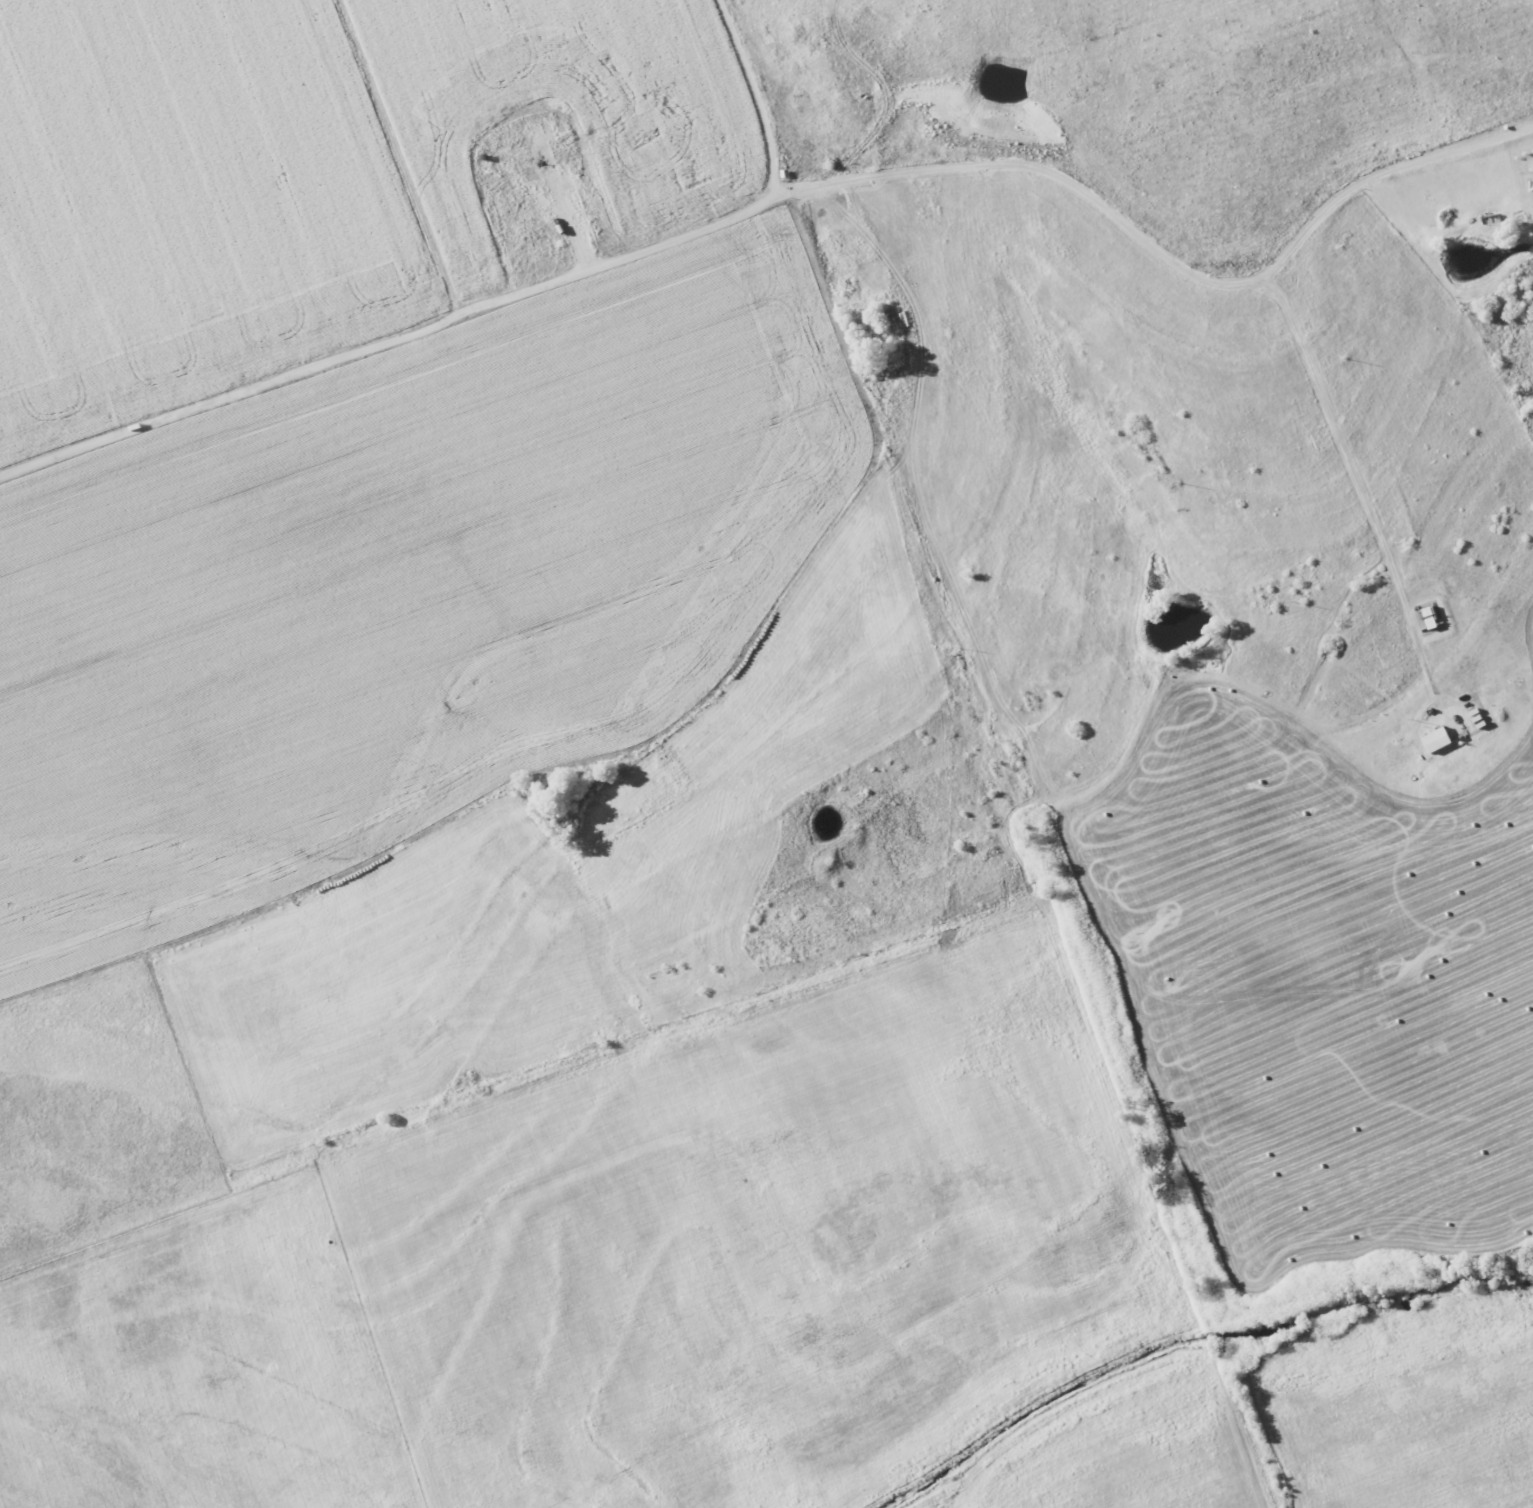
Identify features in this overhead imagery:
road: (403, 159)
road: (637, 252)
road: (1298, 337)
building: (1433, 740)

